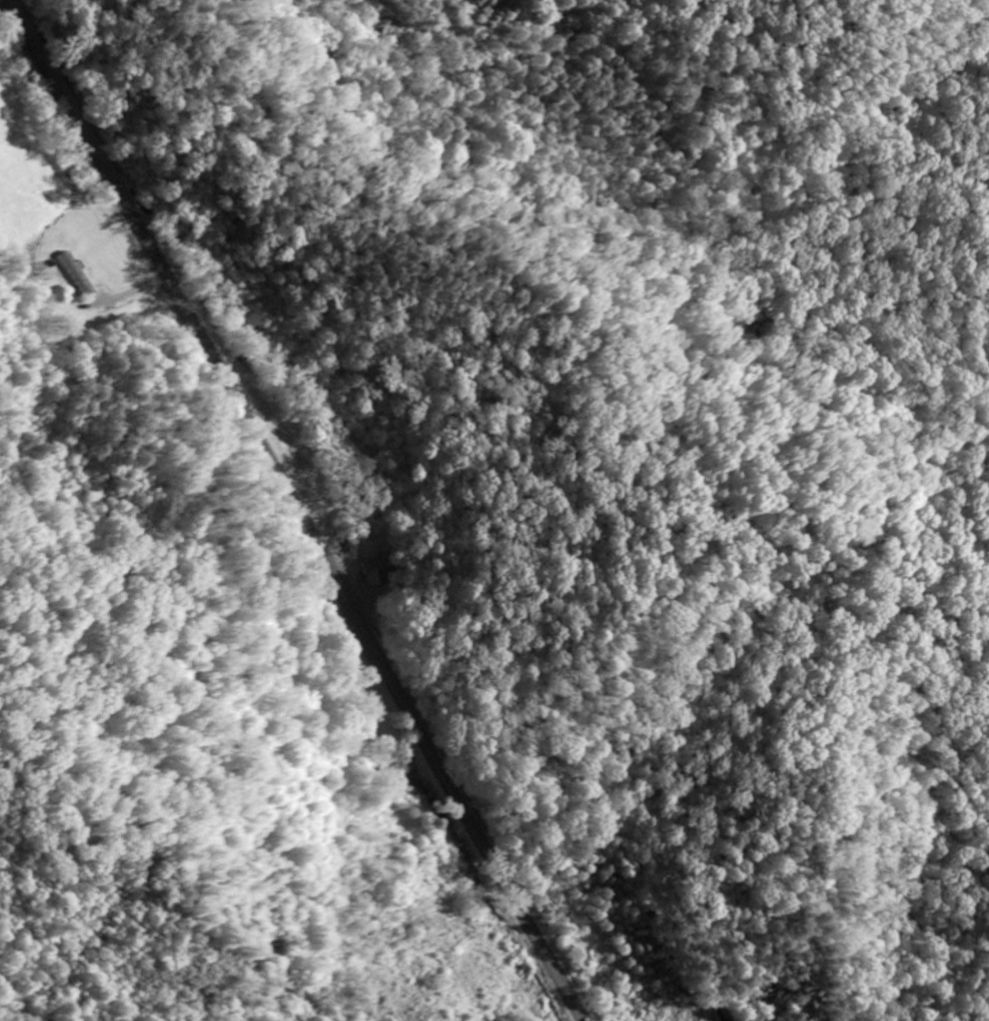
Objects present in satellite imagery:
building: (78, 276)
road: (294, 509)
building: (377, 573)
road: (929, 753)

